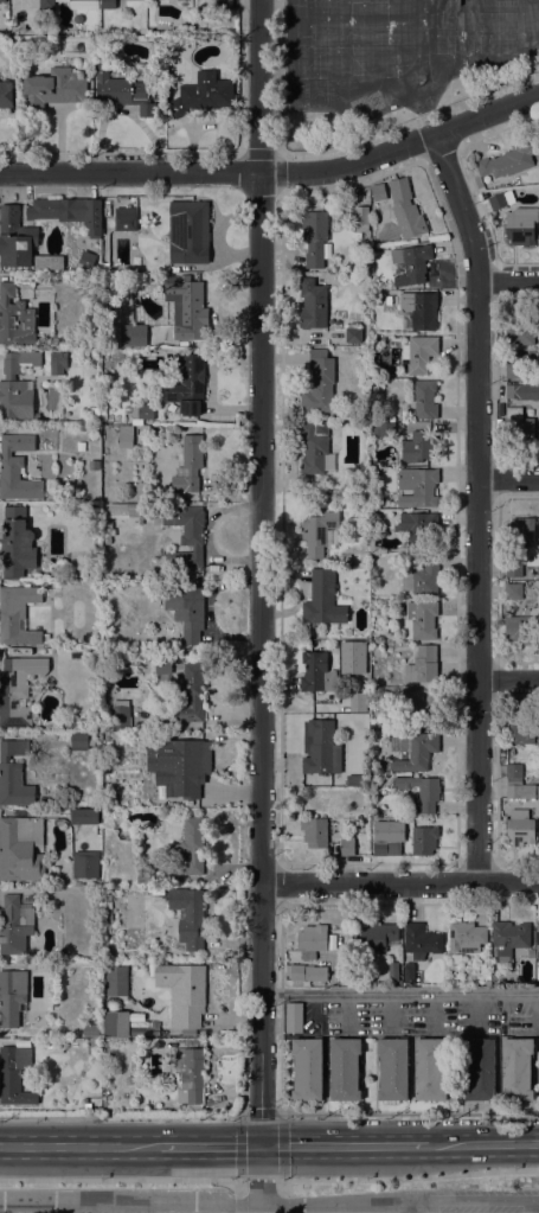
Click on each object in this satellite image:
building: (2, 0)
building: (46, 4)
building: (83, 4)
building: (108, 4)
building: (223, 5)
building: (77, 18)
building: (53, 89)
building: (123, 91)
building: (156, 92)
building: (7, 94)
building: (203, 96)
road: (340, 148)
building: (507, 161)
road: (276, 173)
building: (378, 191)
building: (500, 199)
building: (405, 209)
building: (69, 212)
building: (126, 219)
building: (360, 222)
building: (520, 225)
building: (187, 228)
building: (314, 237)
building: (23, 243)
building: (411, 263)
building: (174, 269)
road: (507, 281)
building: (376, 298)
building: (312, 304)
building: (188, 308)
building: (418, 309)
building: (514, 314)
building: (14, 319)
building: (353, 333)
building: (520, 333)
building: (133, 336)
building: (54, 340)
building: (419, 353)
building: (57, 363)
building: (513, 370)
building: (319, 382)
building: (18, 385)
building: (186, 387)
building: (513, 392)
building: (537, 392)
building: (528, 397)
building: (424, 398)
building: (94, 411)
building: (140, 413)
building: (95, 420)
building: (518, 426)
building: (65, 429)
building: (81, 429)
building: (381, 429)
building: (123, 436)
building: (81, 446)
building: (418, 447)
building: (315, 448)
building: (191, 461)
building: (94, 465)
building: (17, 470)
road: (507, 479)
building: (419, 484)
road: (476, 504)
road: (282, 507)
building: (122, 510)
building: (416, 523)
building: (105, 525)
building: (521, 531)
building: (319, 532)
building: (185, 536)
building: (15, 543)
building: (413, 545)
building: (376, 548)
building: (513, 569)
road: (259, 573)
building: (422, 577)
building: (513, 590)
building: (322, 599)
building: (186, 609)
building: (17, 614)
building: (421, 620)
building: (518, 628)
building: (45, 638)
building: (126, 660)
building: (423, 665)
building: (316, 672)
road: (508, 681)
building: (18, 690)
building: (187, 696)
building: (422, 707)
building: (322, 708)
building: (120, 714)
building: (68, 724)
building: (520, 732)
building: (81, 741)
building: (319, 747)
building: (412, 751)
building: (177, 764)
building: (513, 770)
building: (14, 774)
building: (421, 791)
building: (520, 791)
building: (43, 800)
building: (84, 816)
building: (520, 828)
building: (314, 831)
building: (423, 839)
building: (346, 847)
building: (394, 847)
building: (20, 848)
building: (188, 848)
building: (380, 848)
building: (135, 856)
building: (85, 864)
building: (142, 877)
road: (277, 882)
road: (399, 882)
building: (188, 915)
building: (15, 922)
building: (379, 937)
building: (466, 937)
building: (508, 939)
building: (312, 940)
building: (421, 940)
building: (537, 941)
building: (456, 958)
building: (393, 971)
building: (306, 972)
building: (409, 972)
building: (115, 981)
building: (488, 983)
building: (184, 992)
road: (400, 994)
building: (12, 997)
road: (280, 1008)
building: (294, 1017)
building: (115, 1020)
building: (90, 1029)
building: (9, 1035)
building: (308, 1068)
building: (345, 1068)
building: (393, 1068)
building: (430, 1068)
building: (480, 1068)
building: (516, 1068)
building: (191, 1074)
building: (14, 1075)
building: (129, 1080)
road: (409, 1113)
road: (121, 1115)
road: (280, 1115)
road: (79, 1144)
road: (482, 1144)
road: (210, 1145)
traffic signals: (262, 1145)
road: (344, 1145)
road: (262, 1174)
road: (409, 1177)
road: (120, 1179)
road: (205, 1199)
road: (474, 1199)
road: (410, 1206)
road: (538, 1206)
road: (474, 1212)

